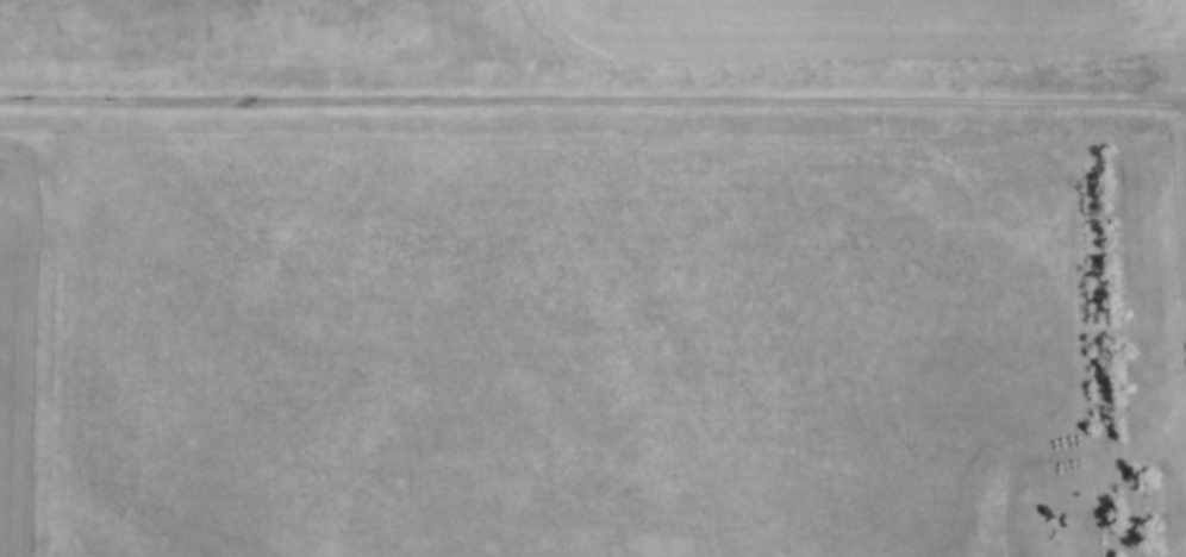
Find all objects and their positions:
road: (593, 102)
building: (606, 383)

